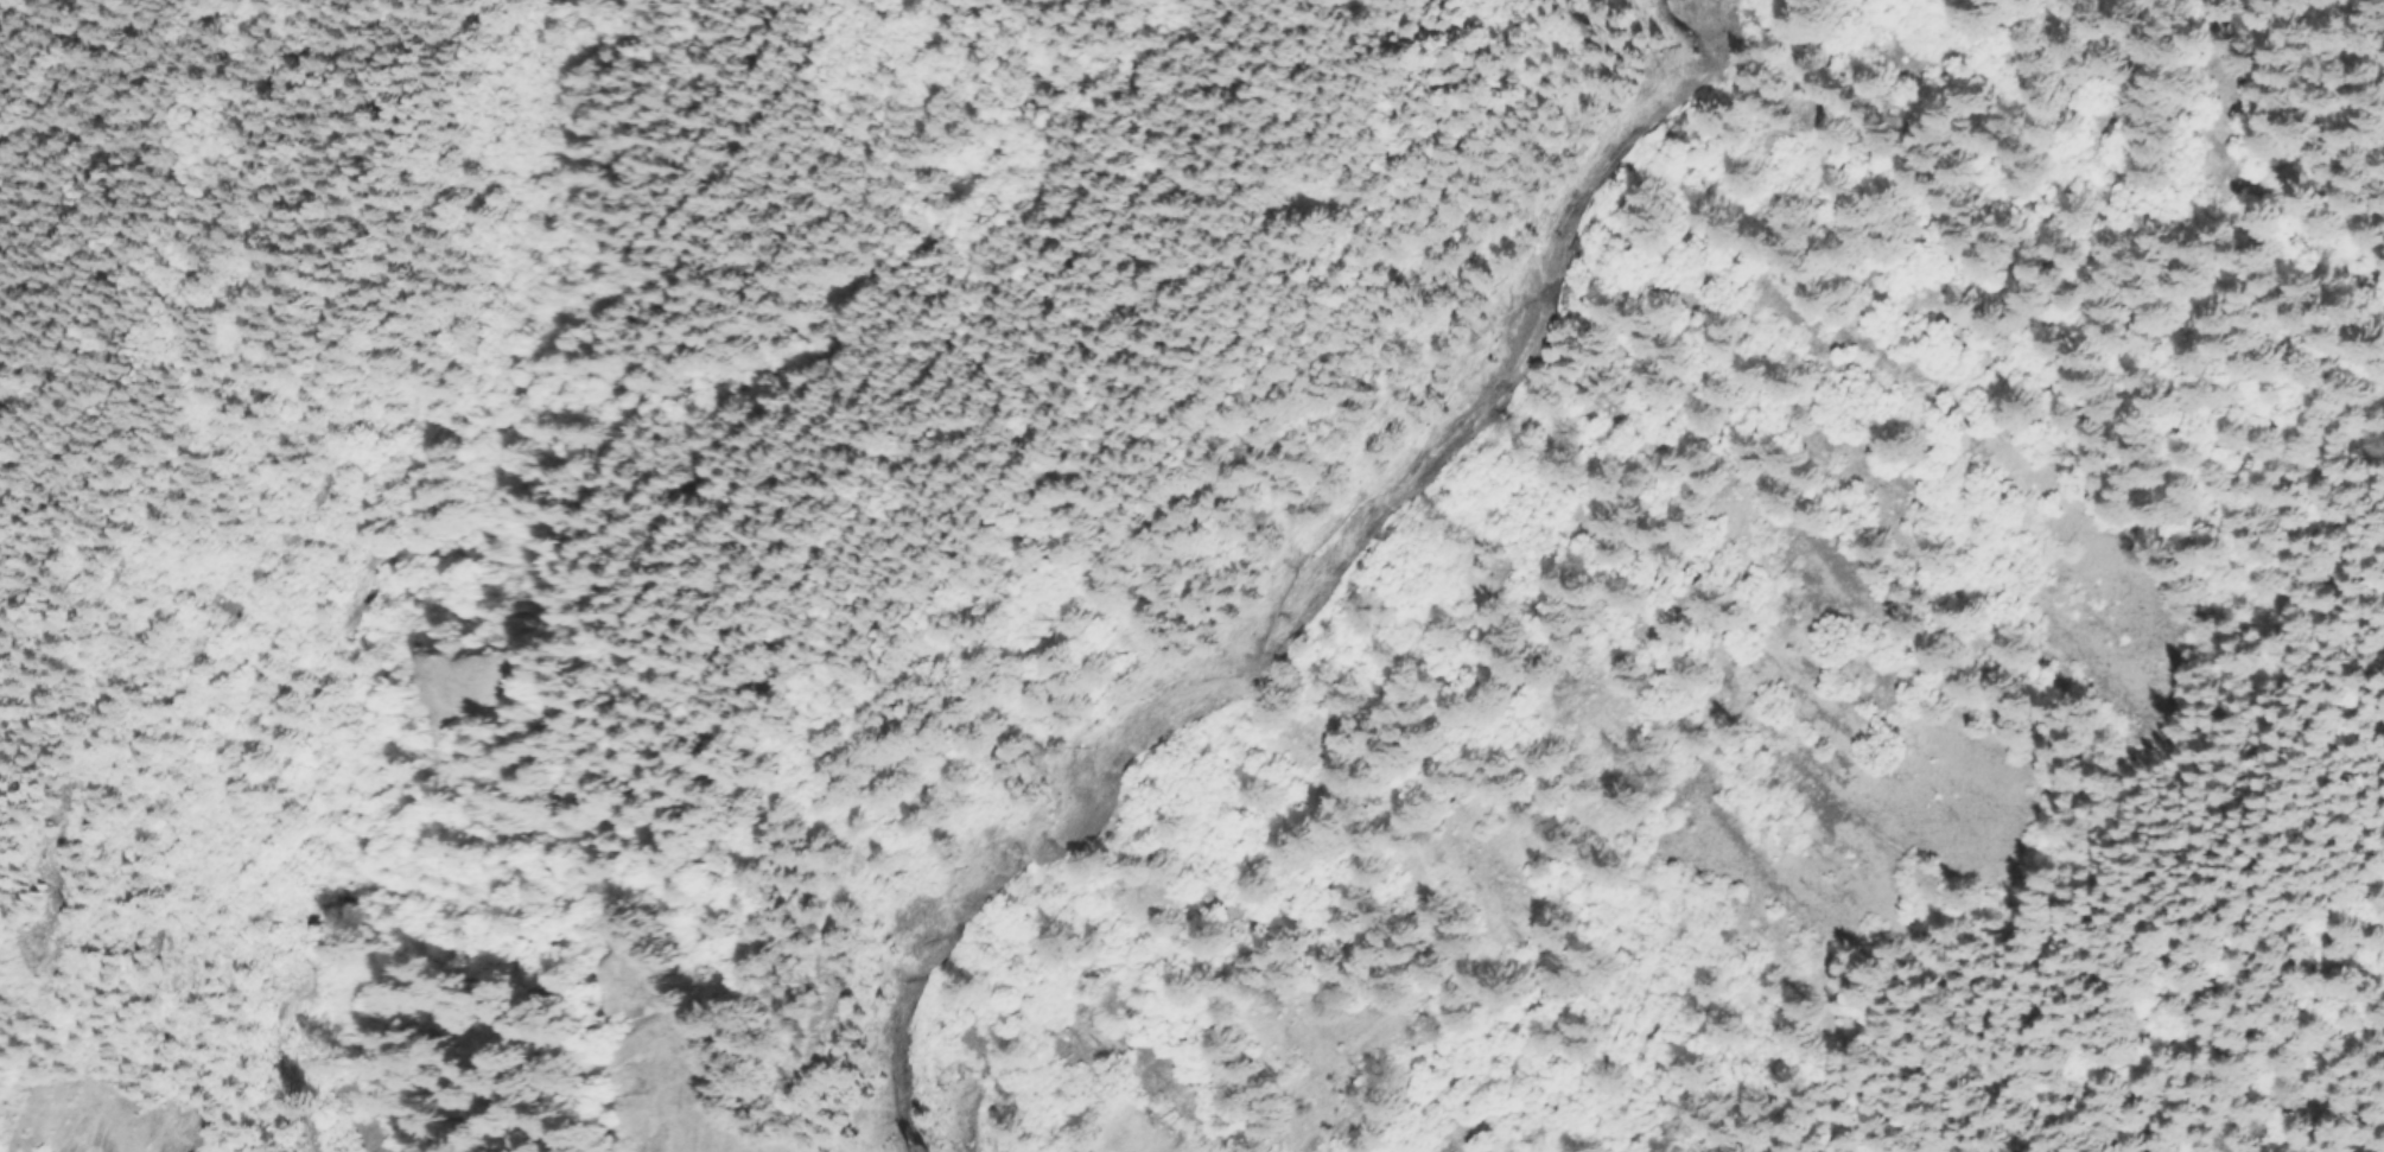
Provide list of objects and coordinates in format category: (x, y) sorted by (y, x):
road: (1050, 578)

